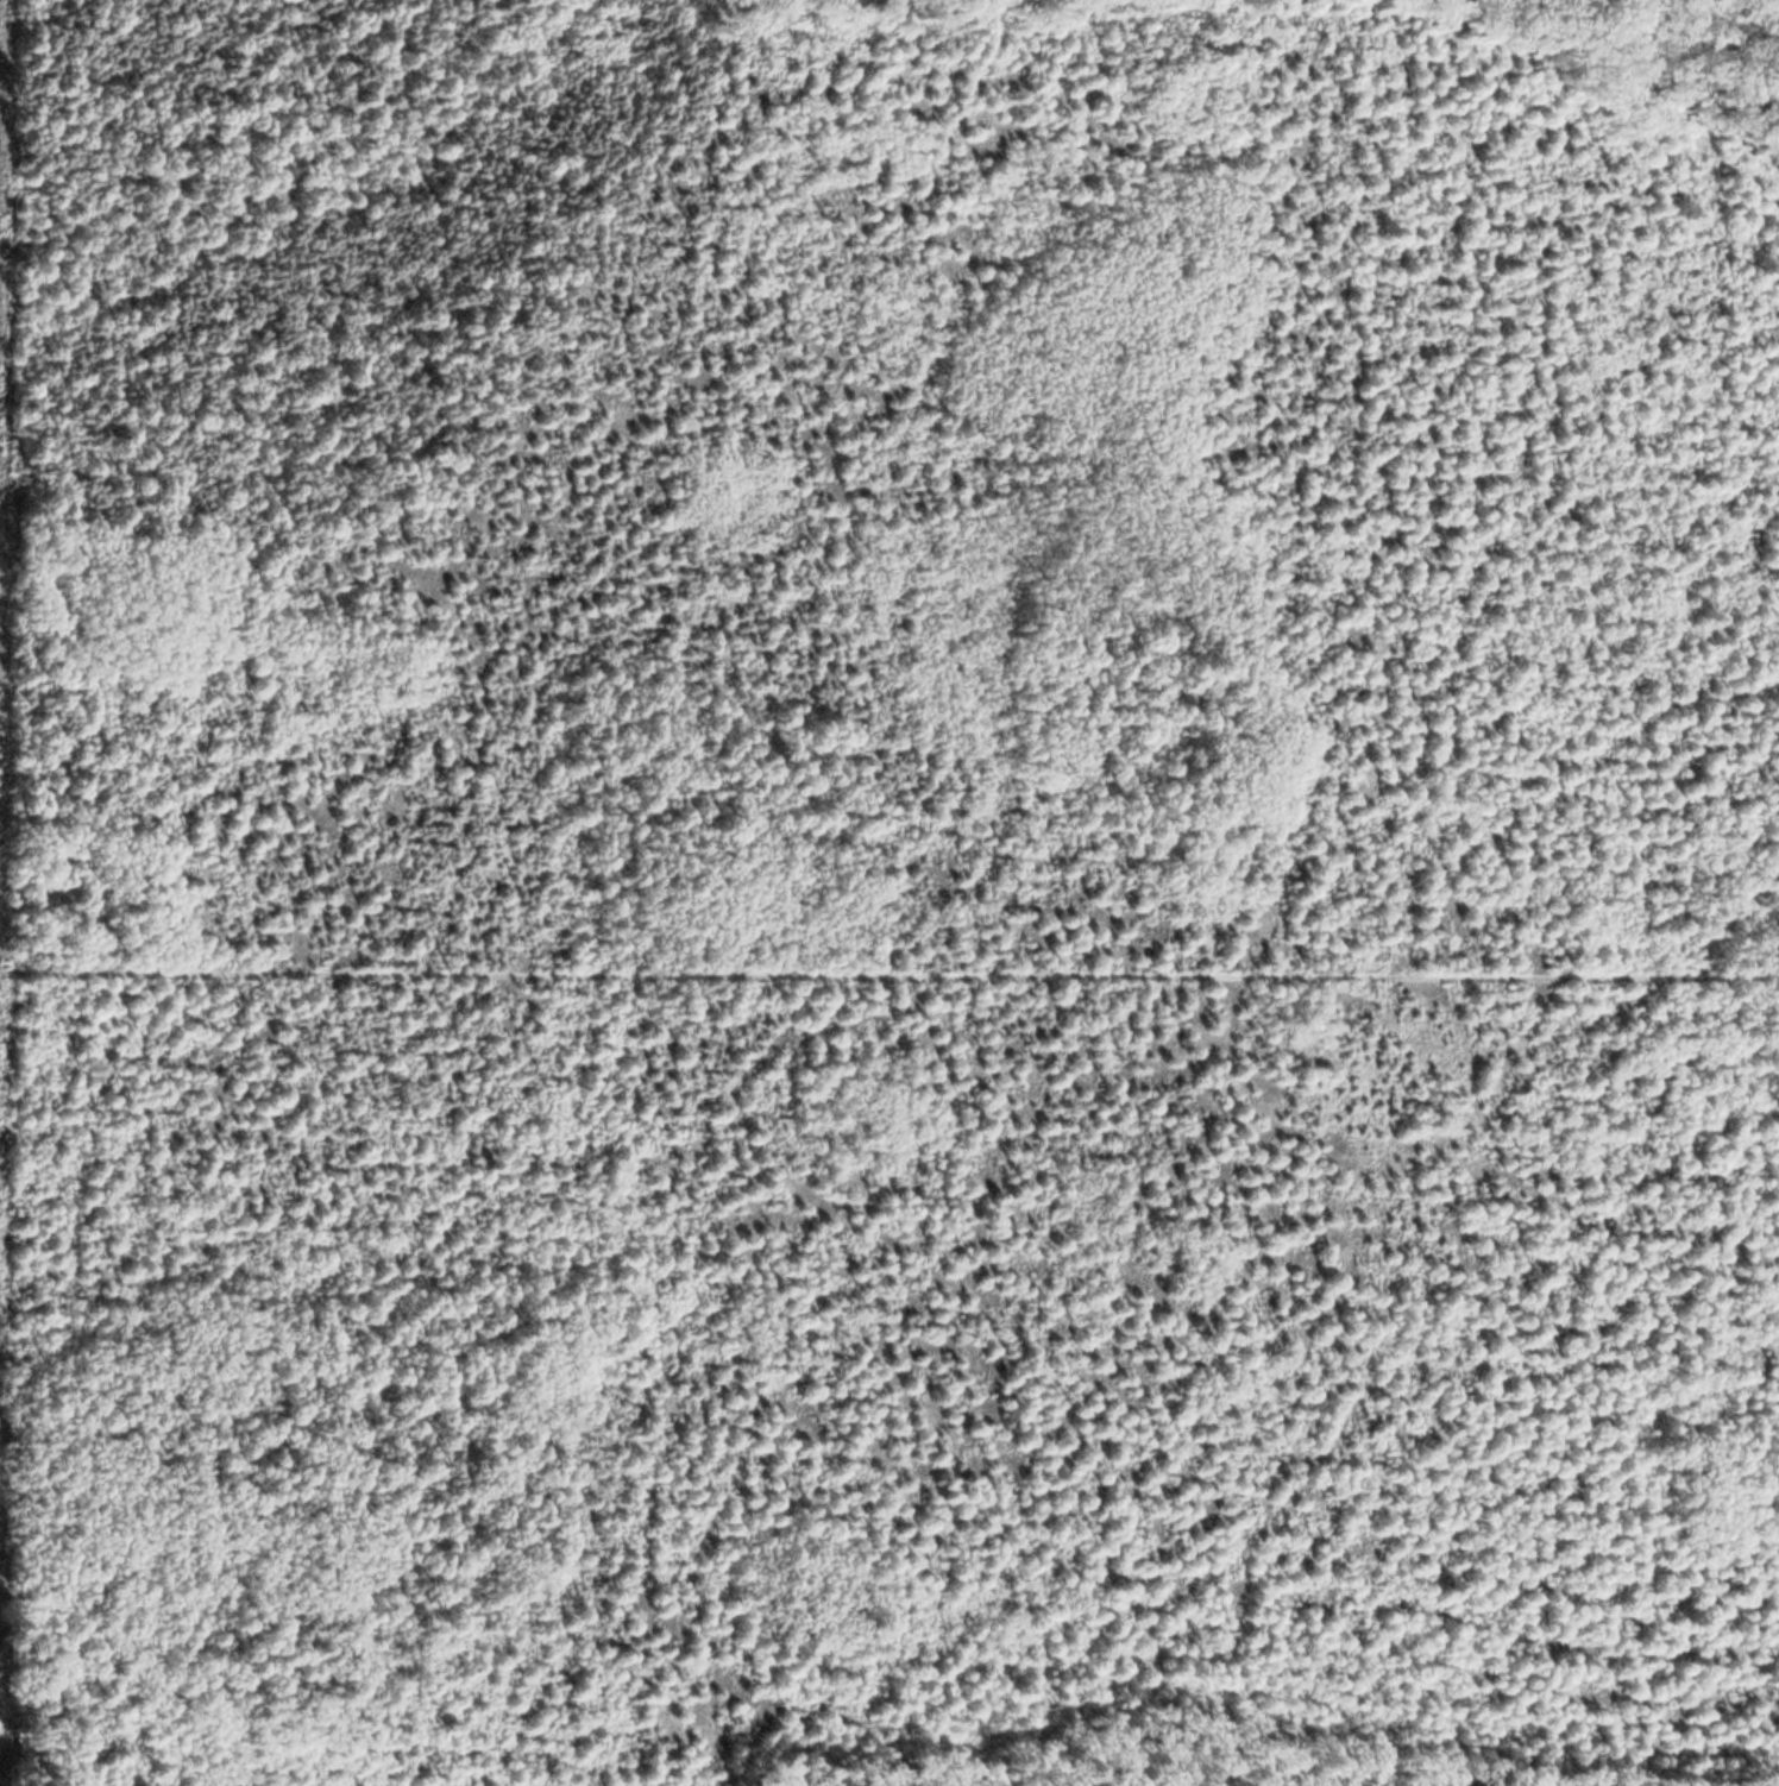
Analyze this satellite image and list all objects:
road: (889, 966)

